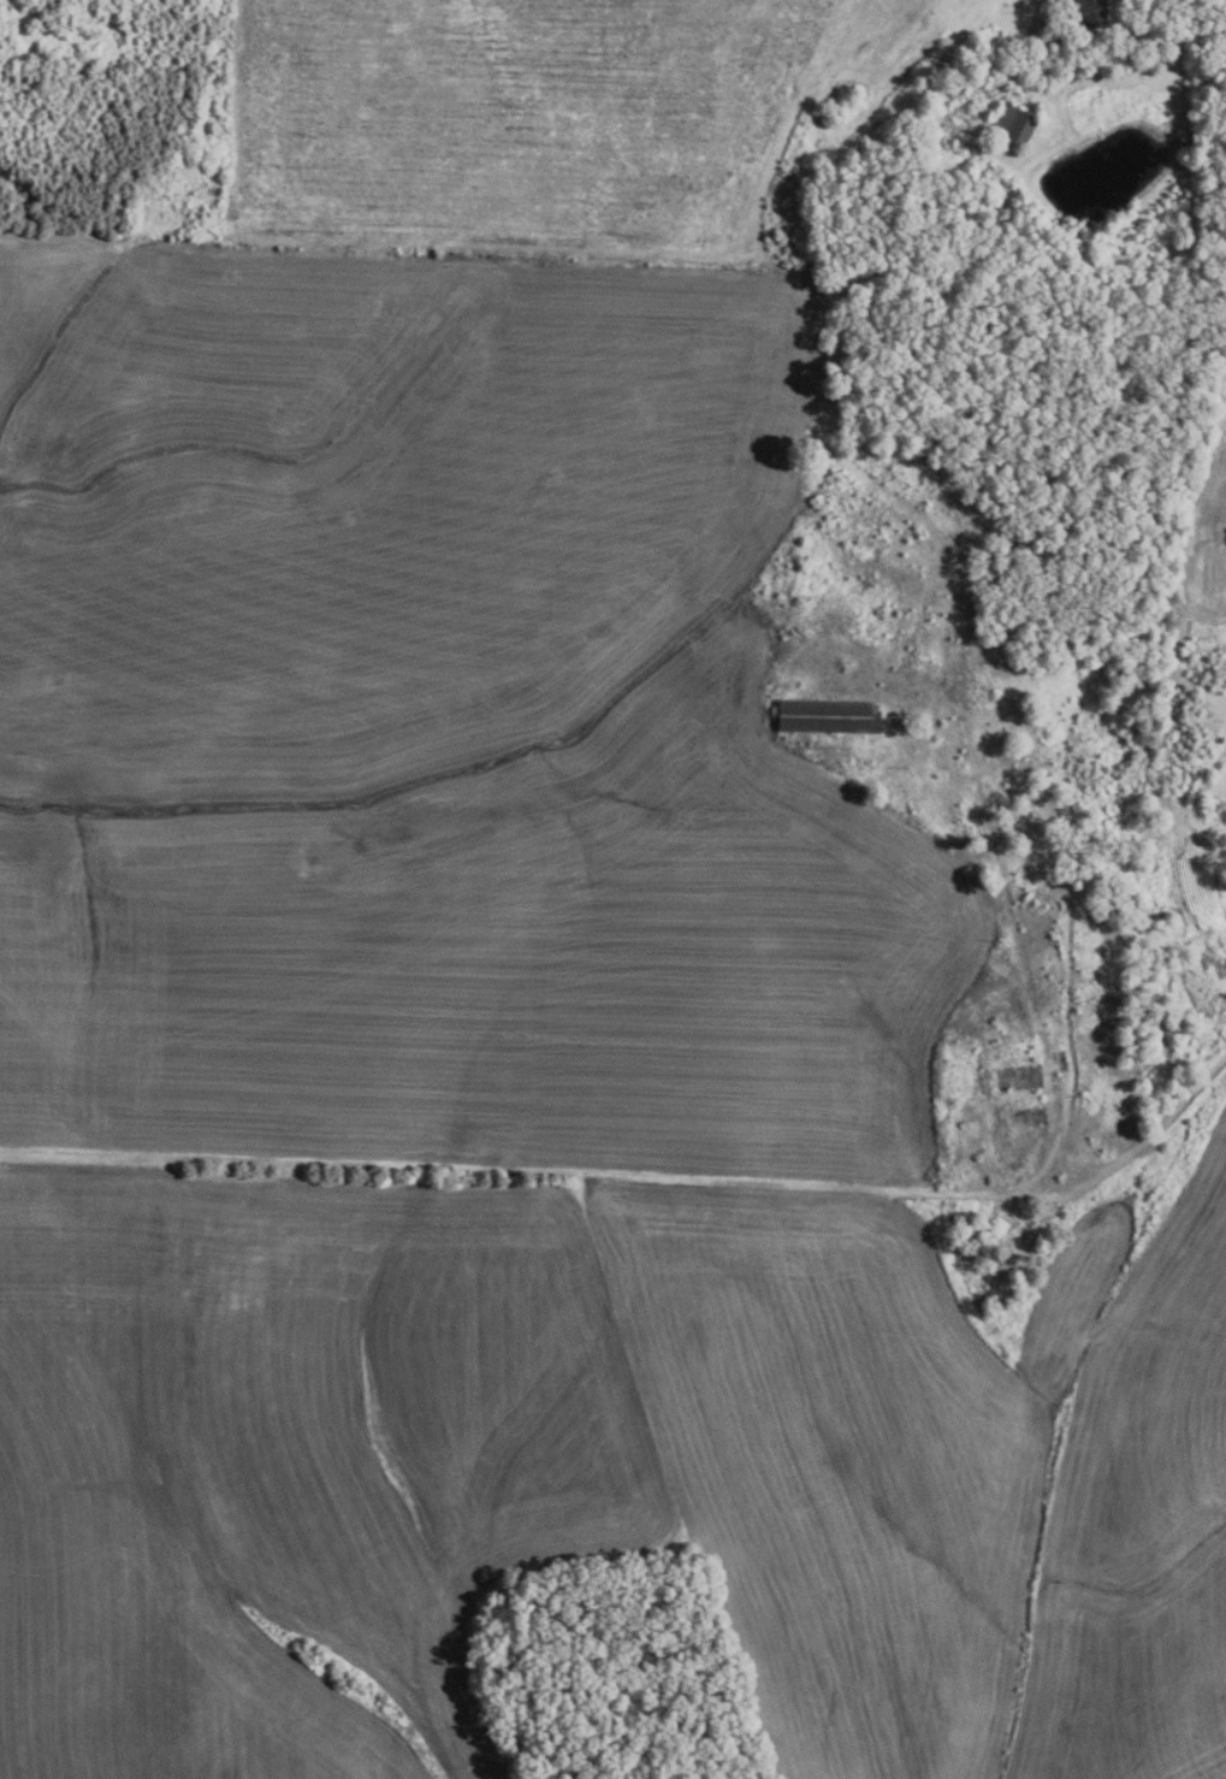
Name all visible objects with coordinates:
building: (1091, 12)
building: (1002, 73)
building: (1014, 124)
building: (827, 717)
road: (641, 1181)

